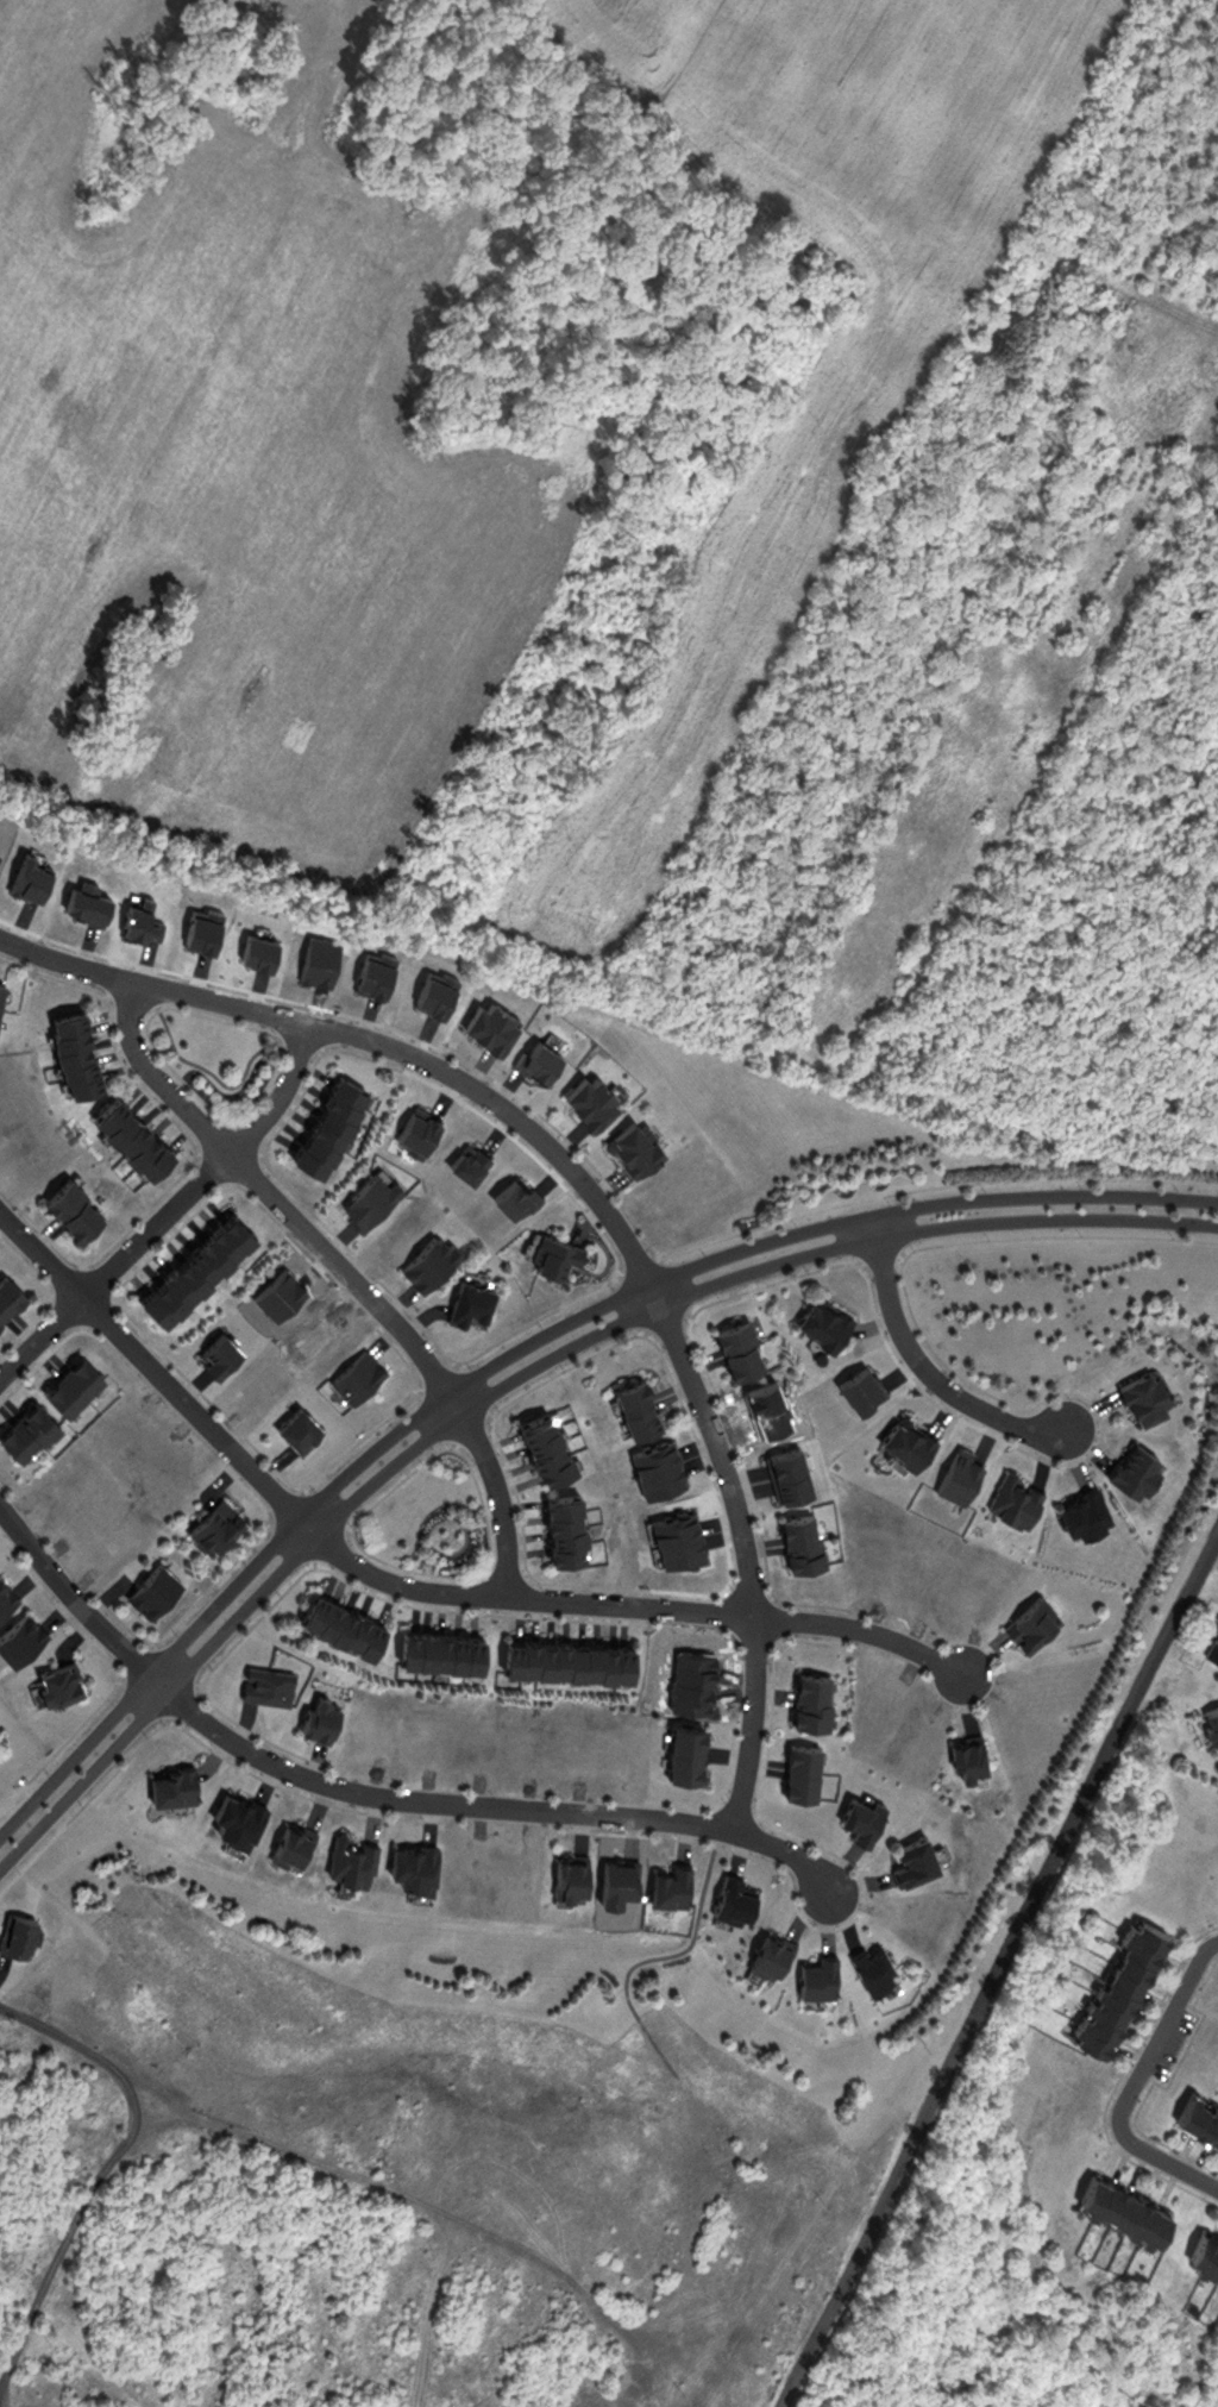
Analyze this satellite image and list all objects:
building: (0, 988)
building: (486, 1023)
road: (373, 1039)
building: (70, 1051)
building: (585, 1098)
building: (326, 1123)
building: (127, 1136)
building: (629, 1143)
building: (369, 1196)
road: (272, 1198)
building: (70, 1209)
road: (170, 1210)
building: (554, 1254)
building: (428, 1259)
building: (192, 1266)
building: (7, 1296)
building: (469, 1302)
building: (821, 1321)
road: (525, 1343)
building: (737, 1348)
building: (215, 1352)
road: (923, 1362)
road: (153, 1367)
road: (523, 1372)
building: (356, 1374)
building: (70, 1385)
building: (1143, 1398)
building: (634, 1408)
building: (295, 1427)
building: (25, 1430)
building: (905, 1441)
building: (542, 1447)
building: (1134, 1471)
road: (500, 1492)
building: (1016, 1500)
building: (1082, 1517)
building: (213, 1523)
building: (561, 1529)
building: (799, 1541)
road: (747, 1553)
building: (151, 1588)
building: (6, 1593)
road: (74, 1596)
road: (633, 1604)
building: (1030, 1624)
building: (339, 1625)
building: (19, 1636)
building: (1213, 1648)
building: (439, 1651)
building: (566, 1660)
building: (55, 1681)
building: (266, 1685)
building: (809, 1695)
building: (320, 1718)
building: (1211, 1725)
building: (684, 1751)
building: (969, 1756)
building: (801, 1767)
building: (169, 1781)
road: (490, 1804)
building: (861, 1814)
building: (234, 1816)
building: (289, 1843)
building: (350, 1857)
building: (912, 1858)
building: (412, 1863)
building: (567, 1873)
building: (670, 1881)
building: (730, 1895)
building: (768, 1954)
building: (872, 1967)
road: (997, 1967)
building: (817, 1975)
building: (1115, 1981)
road: (1137, 2080)
building: (1198, 2115)
road: (307, 2156)
building: (1119, 2206)
building: (1203, 2254)

